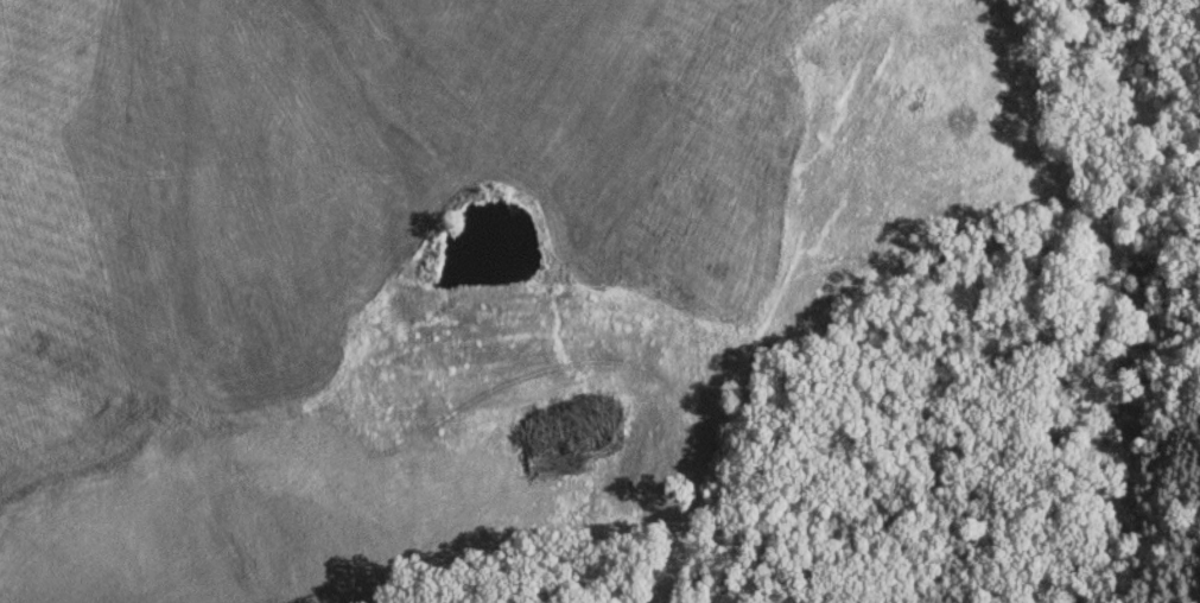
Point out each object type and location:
crop: (64, 134)

